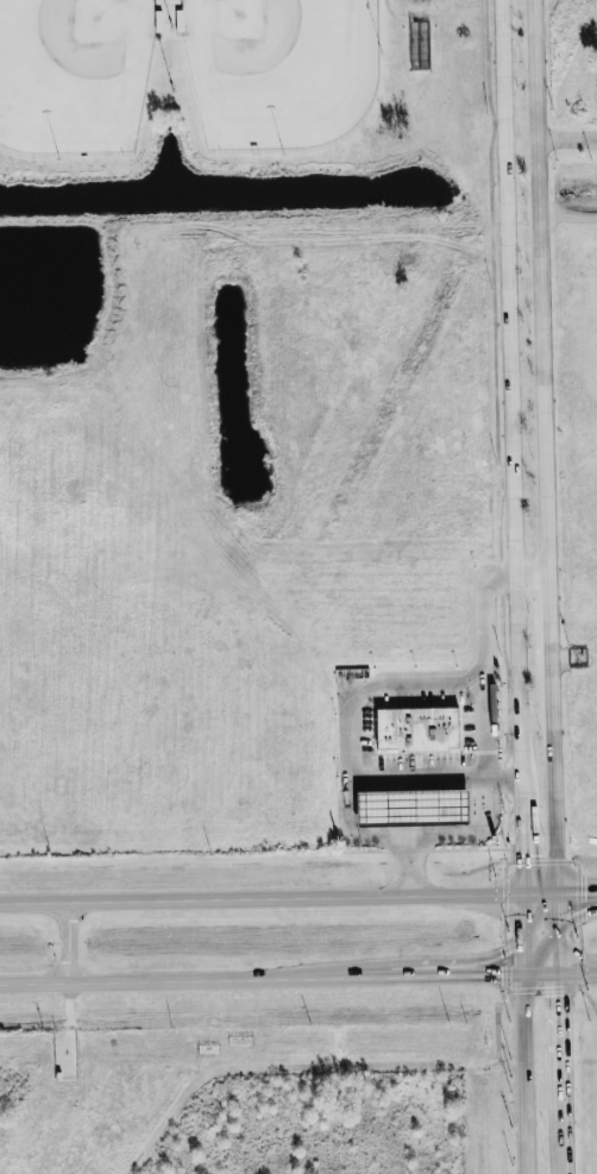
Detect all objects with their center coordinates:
park: (281, 70)
park: (74, 75)
park: (239, 103)
road: (566, 137)
road: (539, 287)
road: (510, 400)
road: (532, 573)
road: (549, 620)
road: (354, 695)
building: (416, 729)
road: (433, 773)
road: (553, 779)
road: (483, 786)
building: (411, 806)
road: (521, 846)
traffic signals: (522, 854)
road: (576, 891)
traffic signals: (585, 891)
road: (540, 892)
road: (262, 898)
road: (557, 900)
road: (523, 914)
traffic signals: (586, 915)
road: (557, 917)
road: (576, 918)
road: (540, 922)
road: (540, 940)
road: (65, 942)
road: (524, 943)
road: (557, 949)
traffic signals: (499, 953)
road: (467, 962)
road: (524, 963)
road: (577, 972)
road: (540, 973)
road: (464, 974)
traffic signals: (502, 974)
road: (381, 977)
road: (177, 980)
traffic signals: (557, 993)
road: (558, 1054)
road: (376, 1065)
road: (526, 1074)
road: (560, 1155)

